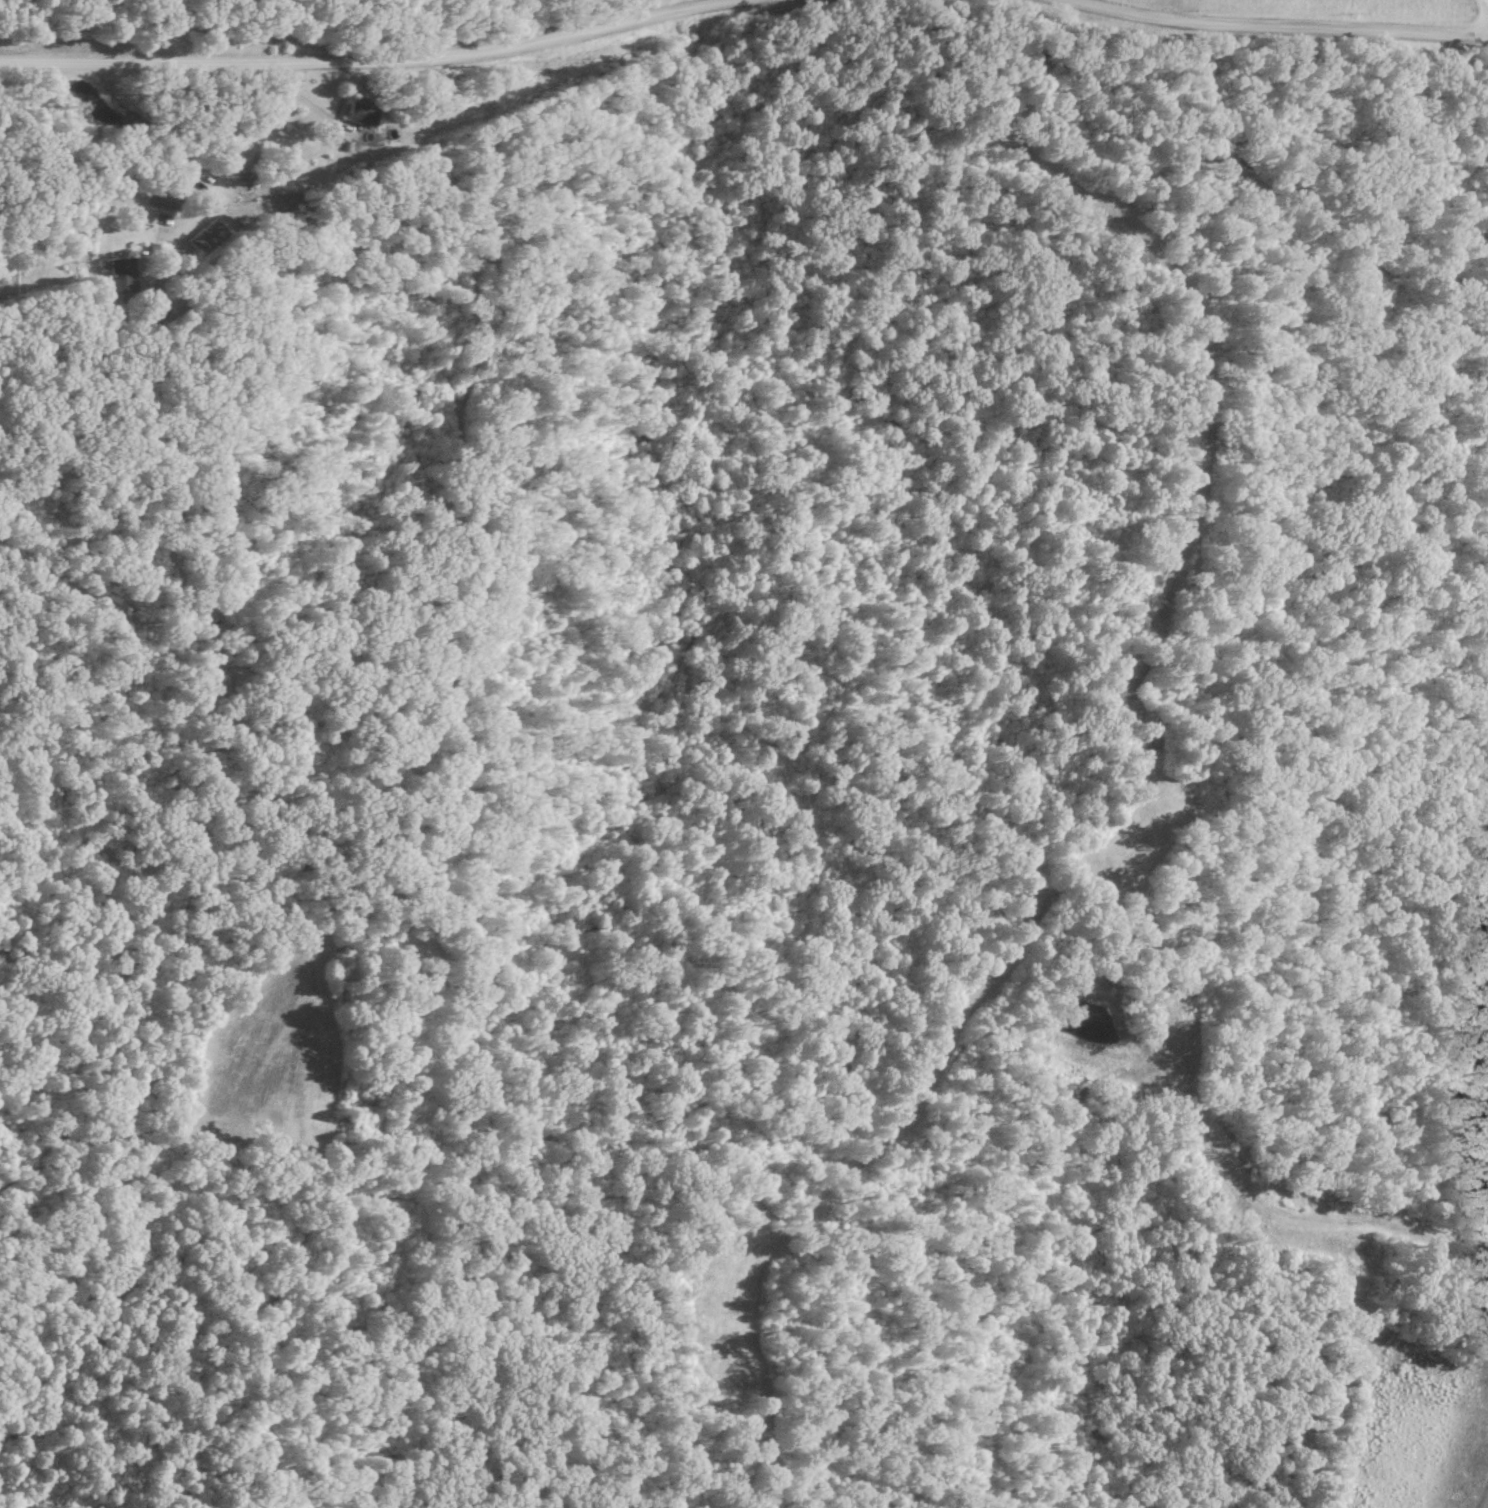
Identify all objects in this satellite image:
road: (1487, 0)
road: (1268, 20)
road: (186, 27)
road: (414, 49)
building: (357, 113)
road: (247, 124)
road: (236, 176)
building: (204, 236)
building: (121, 274)

